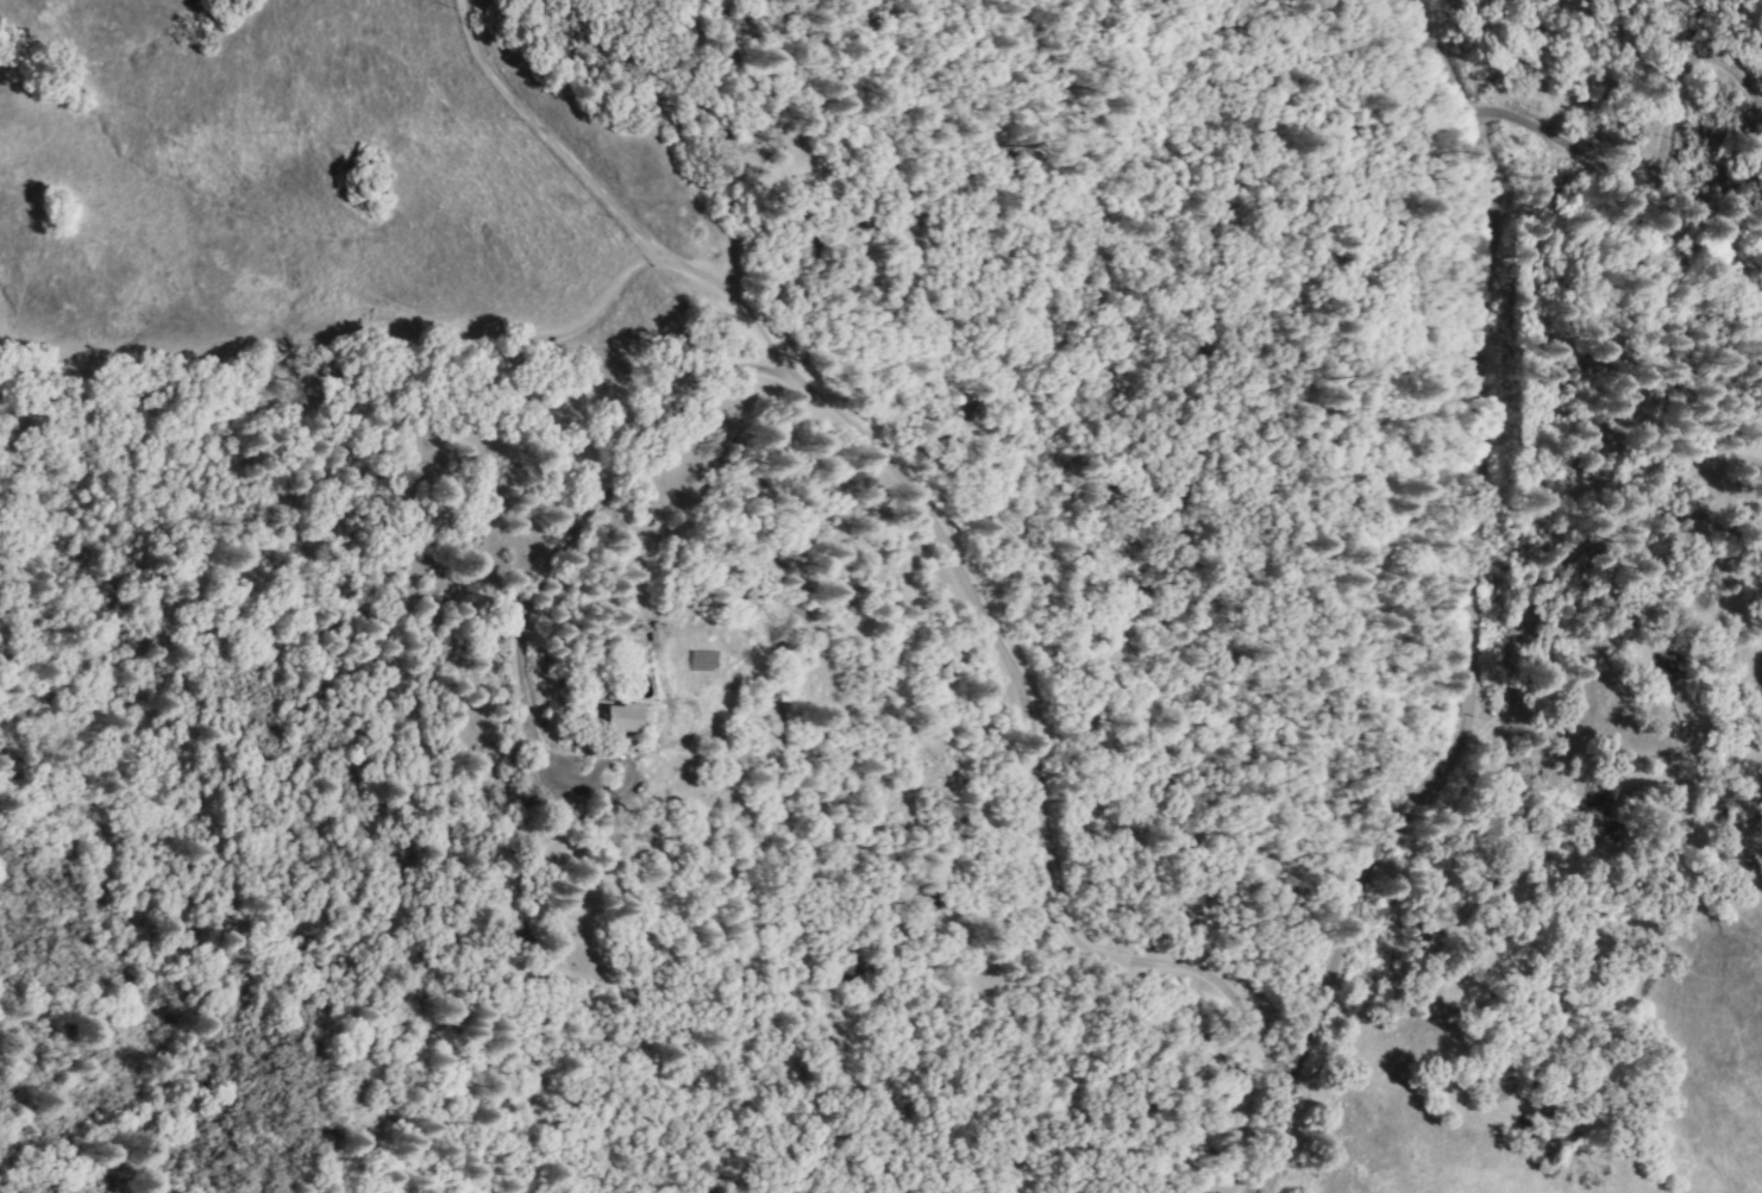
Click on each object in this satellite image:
road: (550, 134)
road: (821, 395)
road: (551, 551)
road: (1476, 614)
building: (613, 718)

